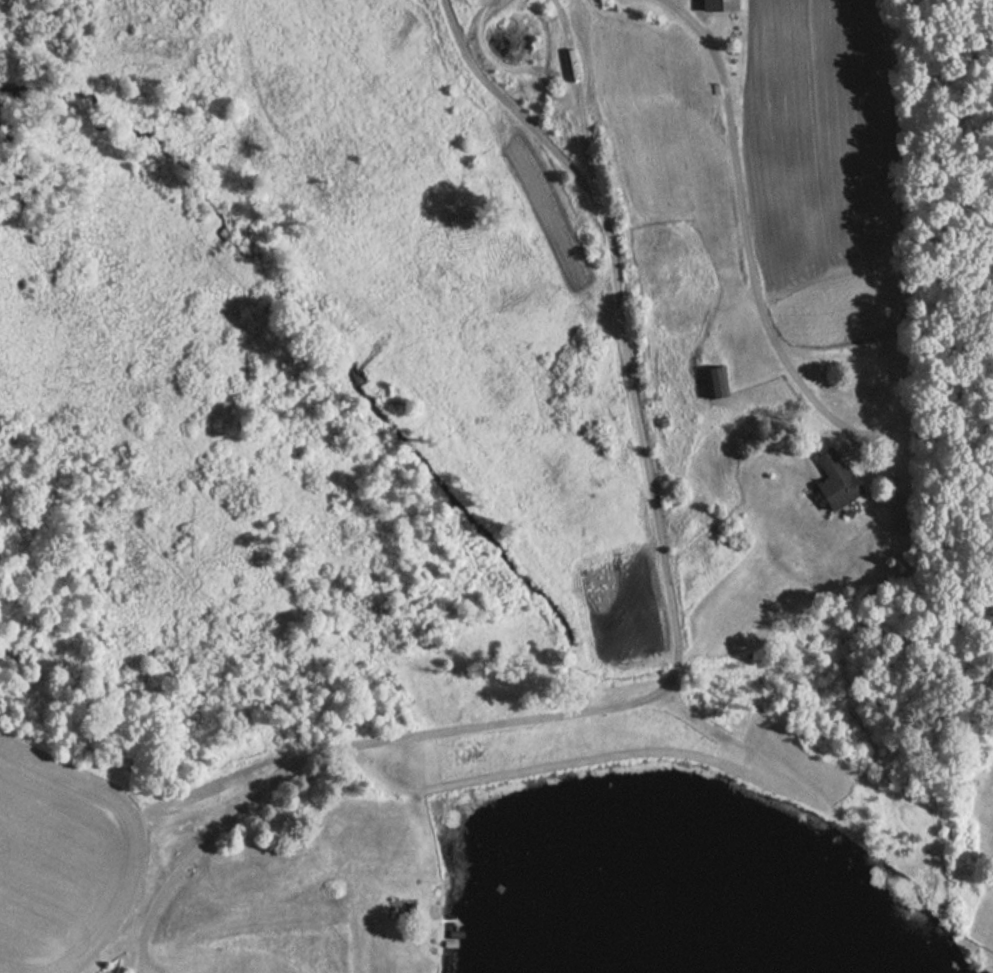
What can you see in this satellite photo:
building: (714, 5)
road: (579, 101)
road: (749, 255)
building: (720, 378)
building: (832, 480)
road: (678, 649)

